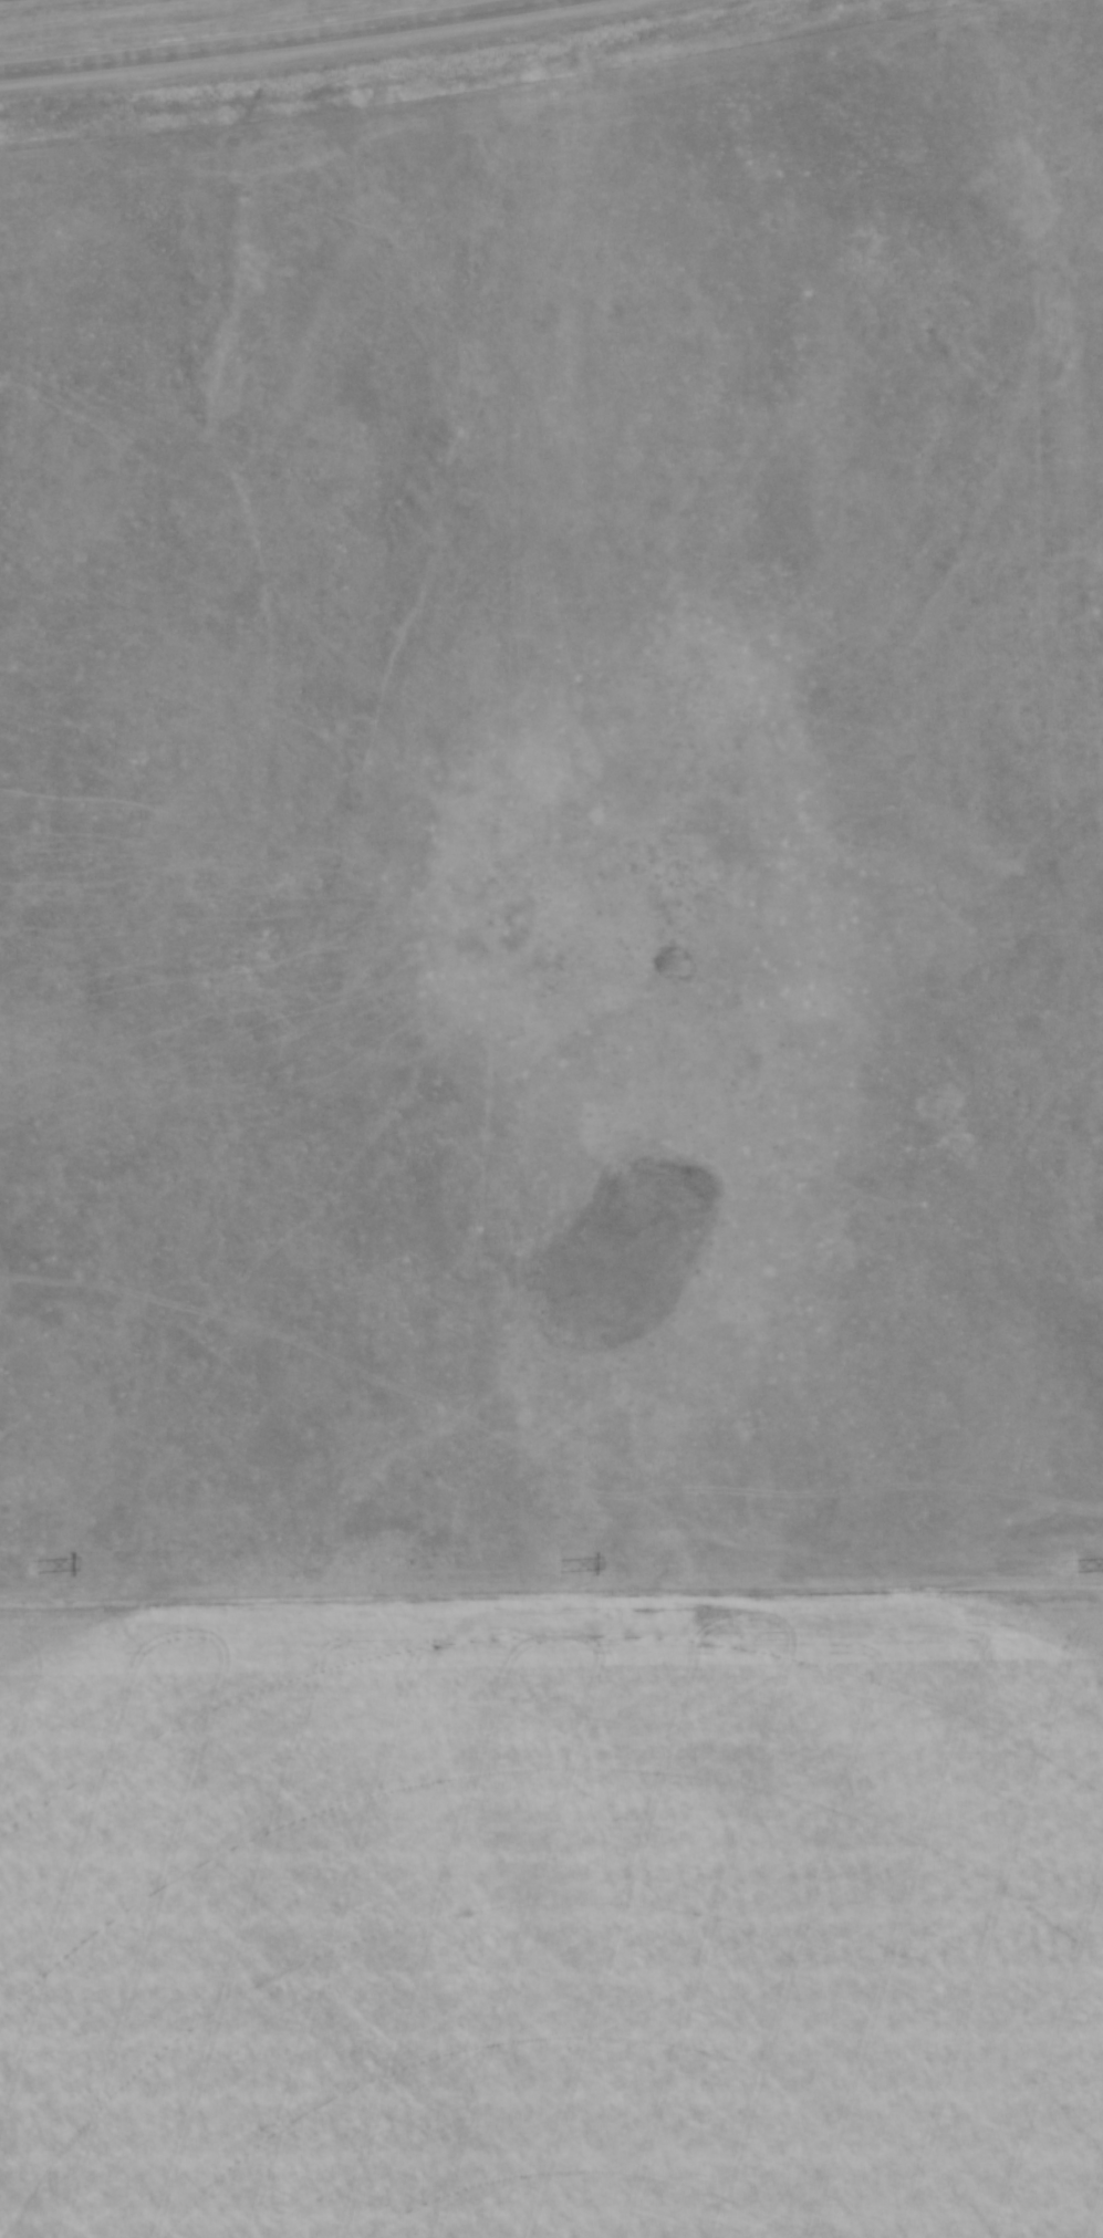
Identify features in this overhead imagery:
road: (281, 42)
power tower: (1063, 1568)
power tower: (24, 1570)
power tower: (548, 1572)

